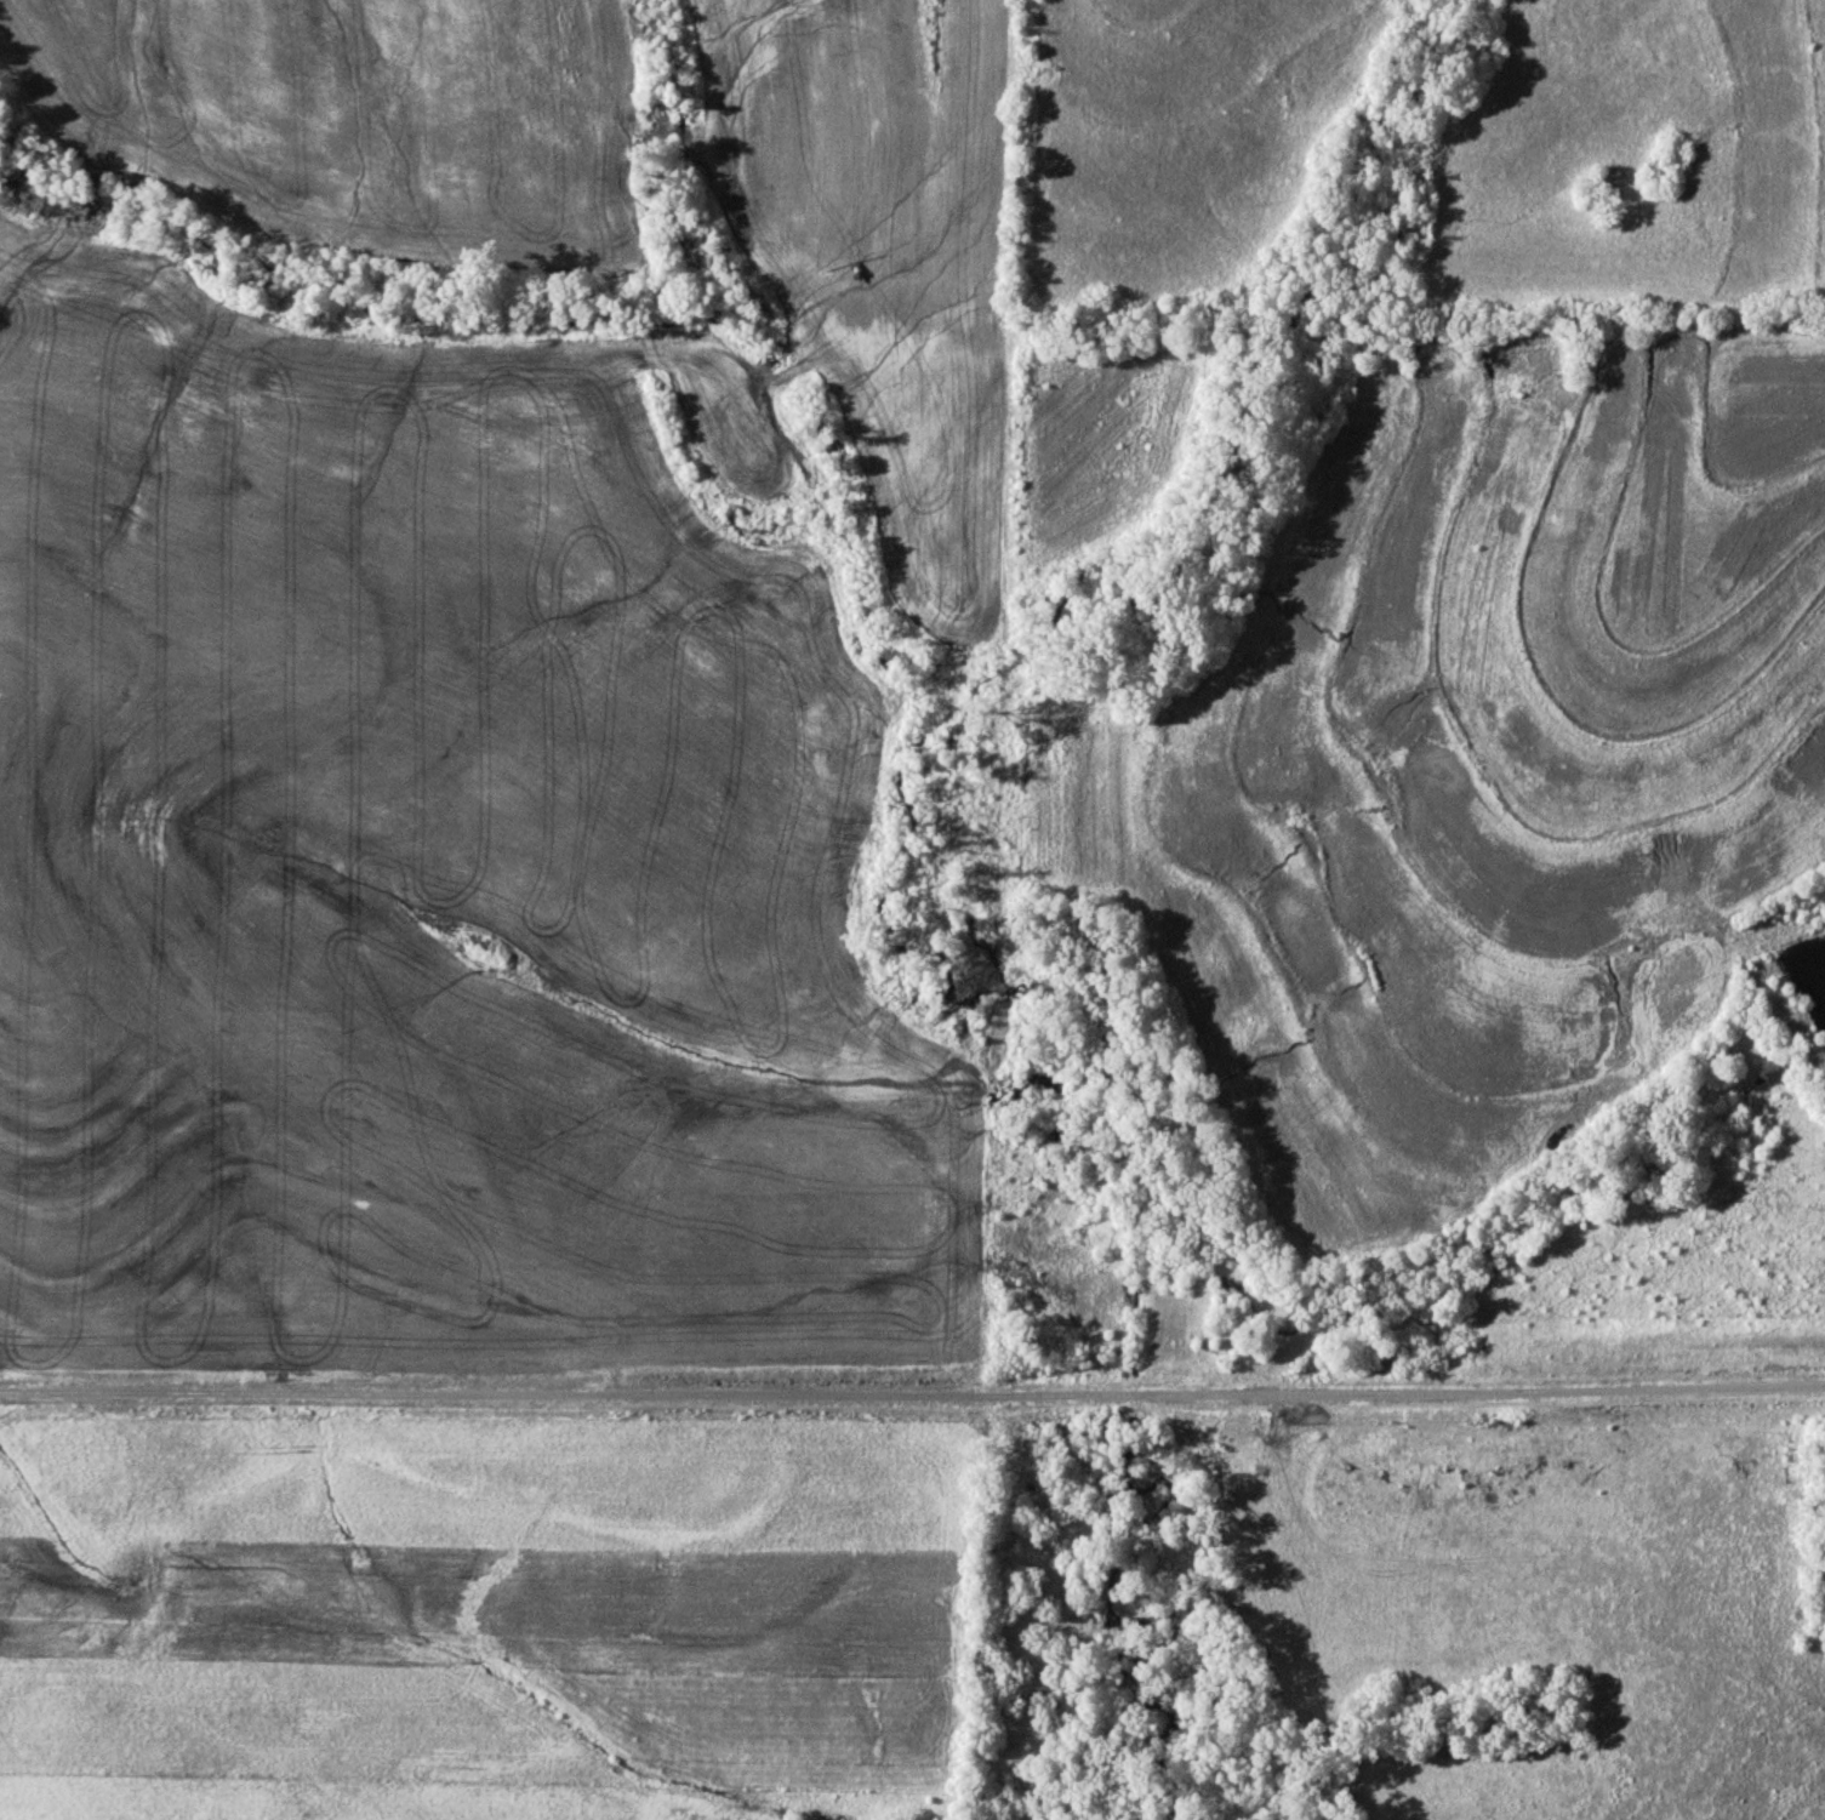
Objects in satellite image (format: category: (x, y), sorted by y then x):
road: (912, 1400)
park: (1820, 1531)

